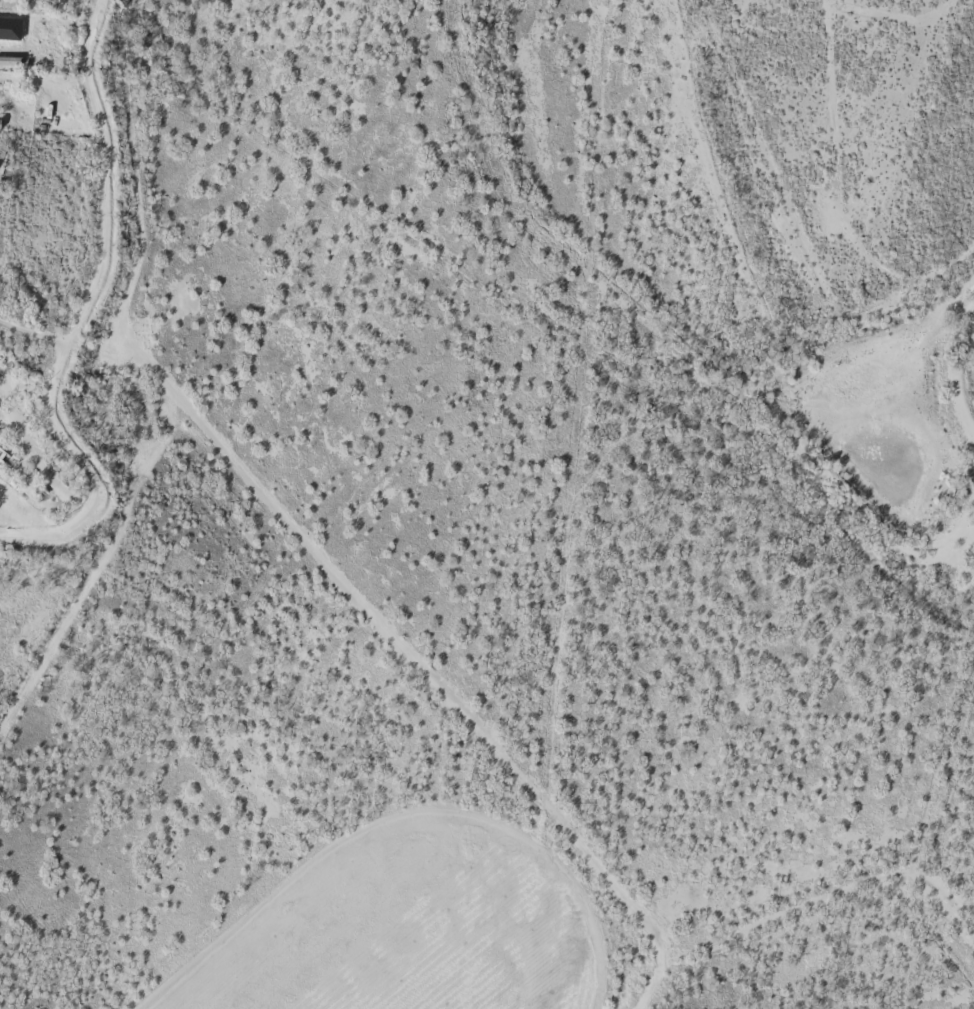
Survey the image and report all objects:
building: (8, 55)
building: (68, 123)
road: (38, 326)
road: (177, 409)

